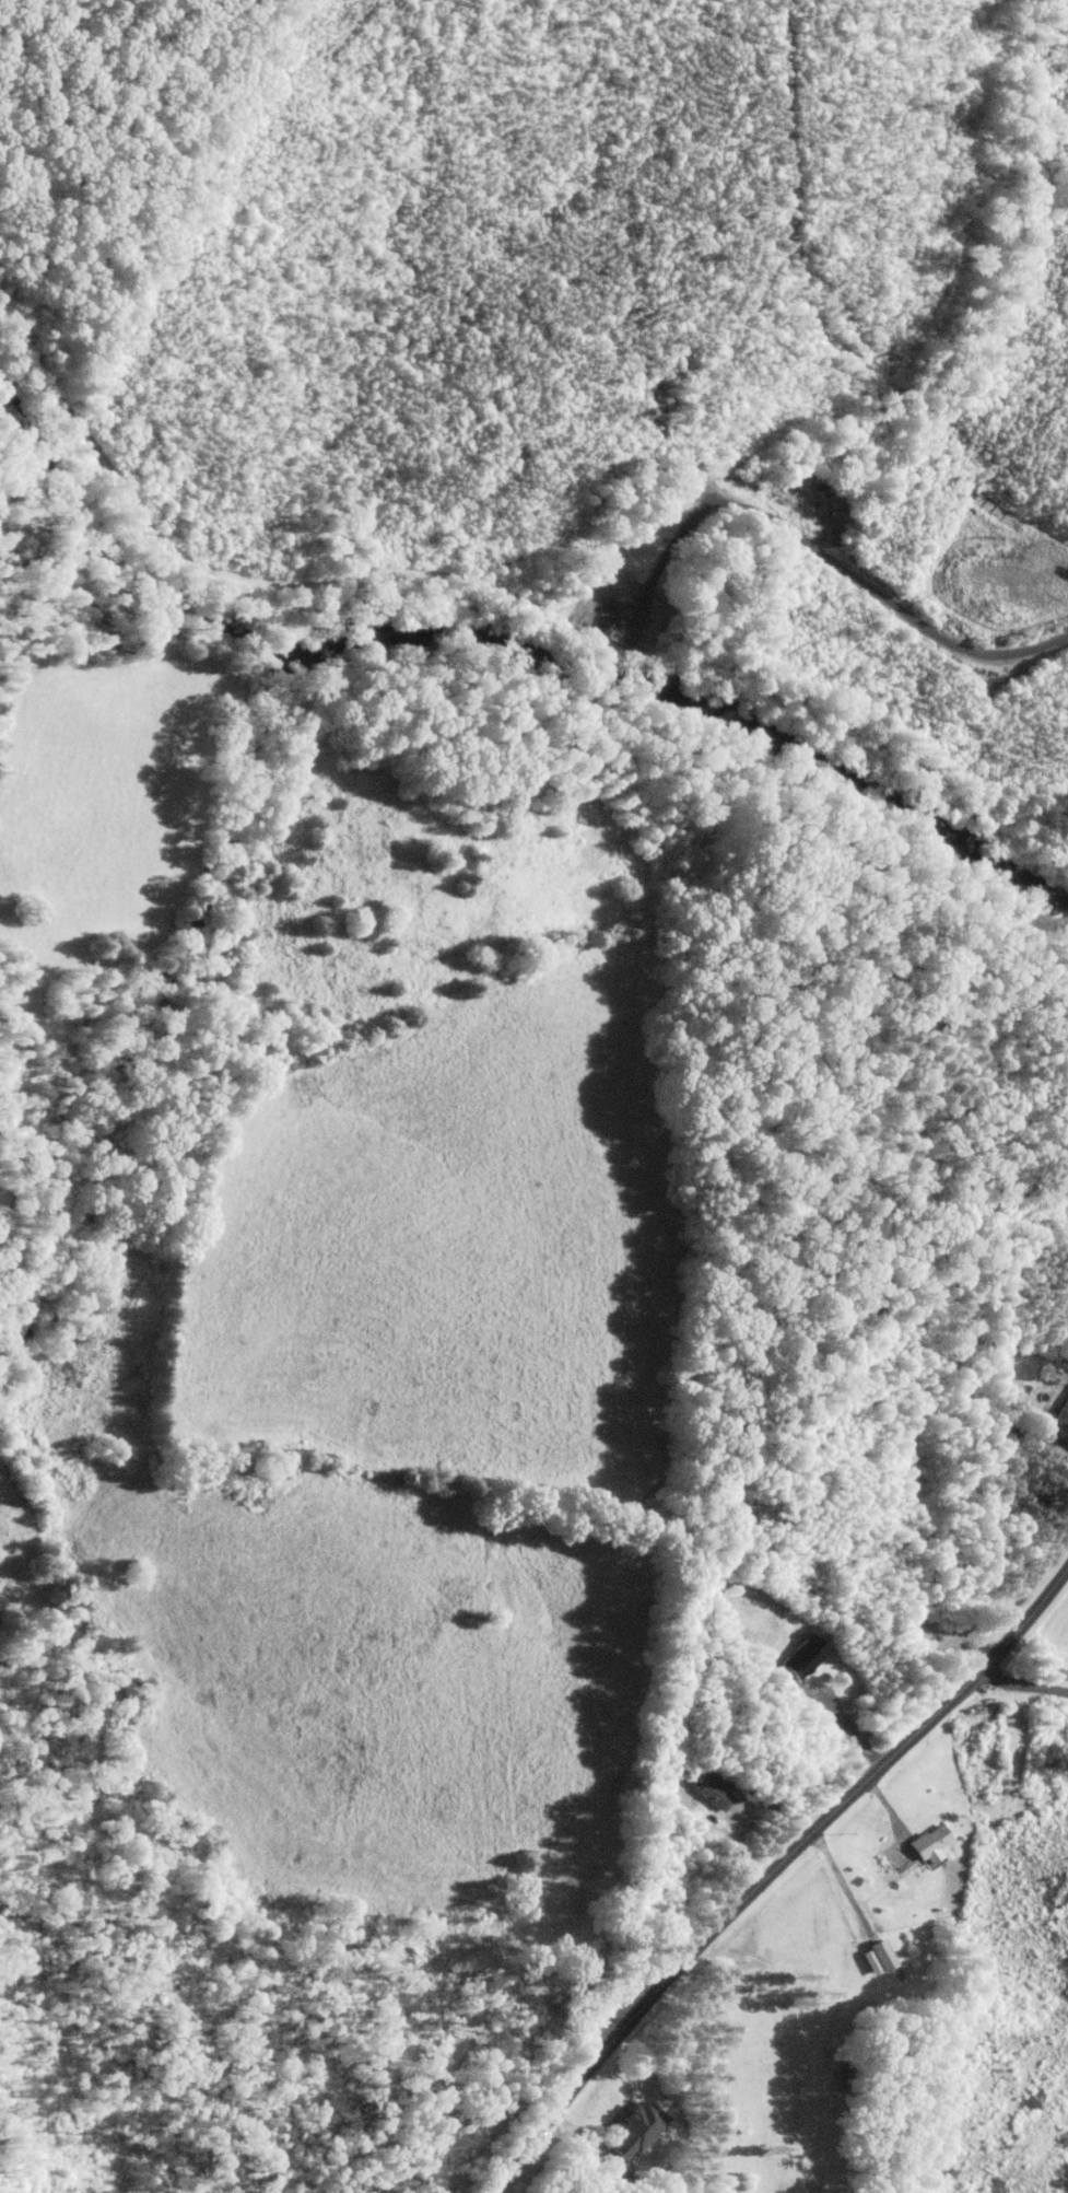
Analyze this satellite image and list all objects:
road: (836, 564)
road: (1045, 1413)
building: (1061, 1416)
building: (798, 1657)
road: (1021, 1673)
road: (845, 1726)
building: (709, 1792)
road: (776, 1871)
road: (845, 1886)
building: (876, 1957)
building: (632, 2127)

